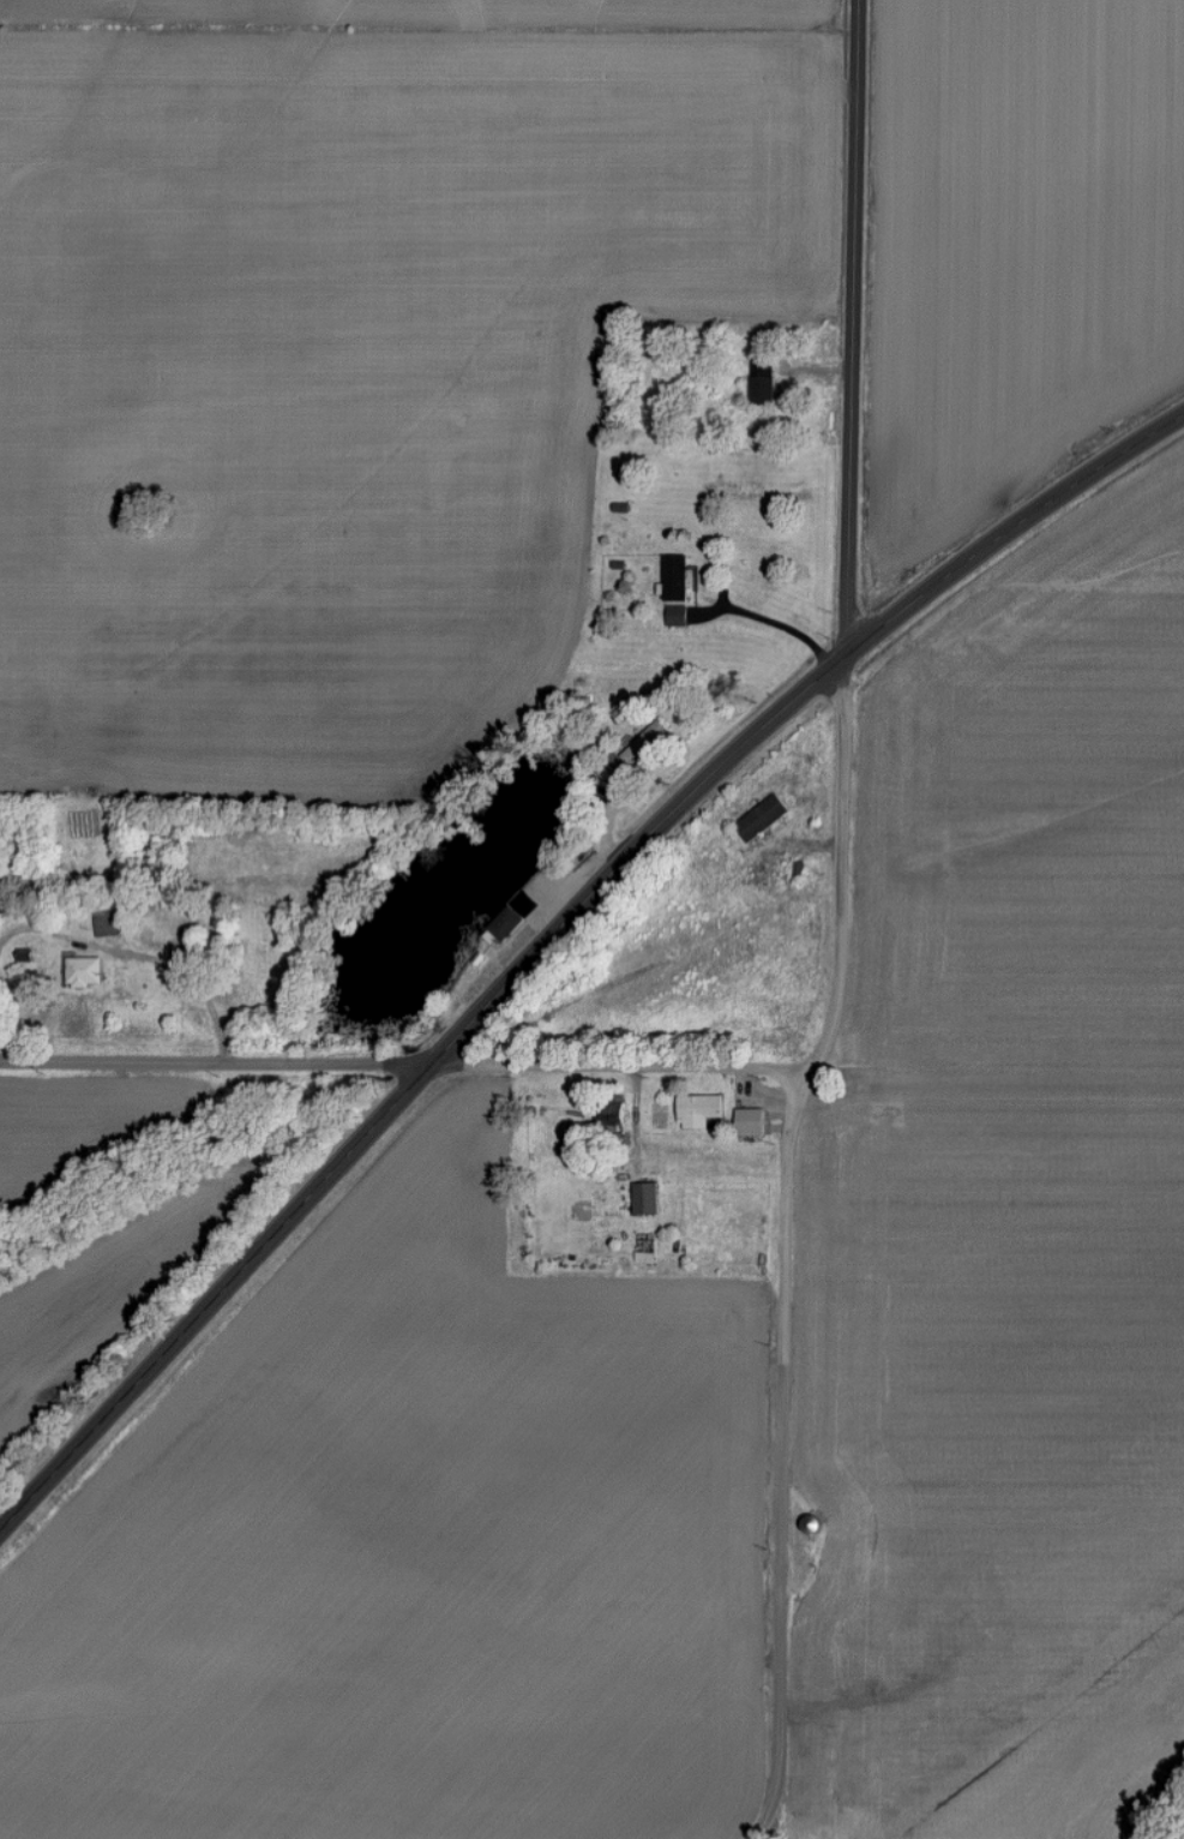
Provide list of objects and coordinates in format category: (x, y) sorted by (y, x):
road: (852, 325)
building: (767, 389)
building: (679, 577)
building: (680, 615)
road: (767, 621)
building: (645, 742)
building: (612, 766)
building: (764, 817)
building: (512, 917)
road: (549, 926)
building: (86, 971)
road: (187, 978)
road: (211, 1064)
road: (615, 1064)
building: (702, 1109)
building: (753, 1121)
building: (649, 1198)
road: (785, 1246)

